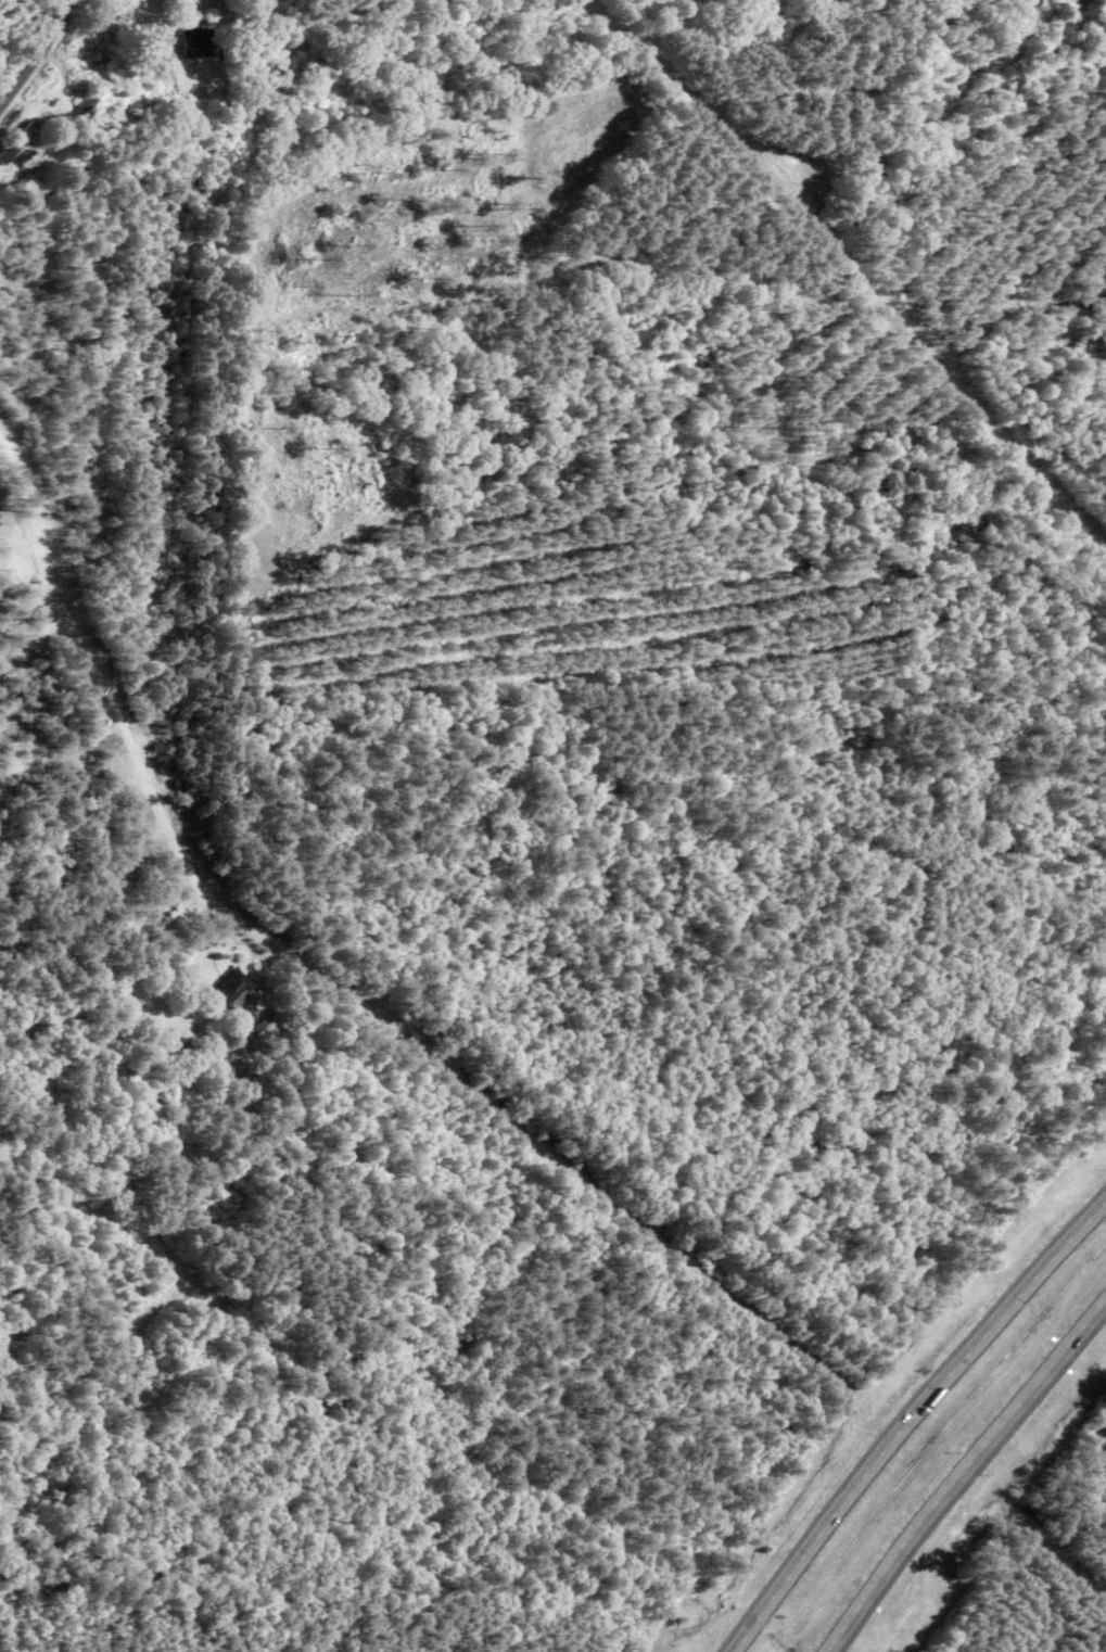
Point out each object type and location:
building: (194, 42)
road: (36, 51)
building: (31, 164)
road: (116, 711)
building: (234, 990)
road: (910, 1420)
road: (961, 1473)

